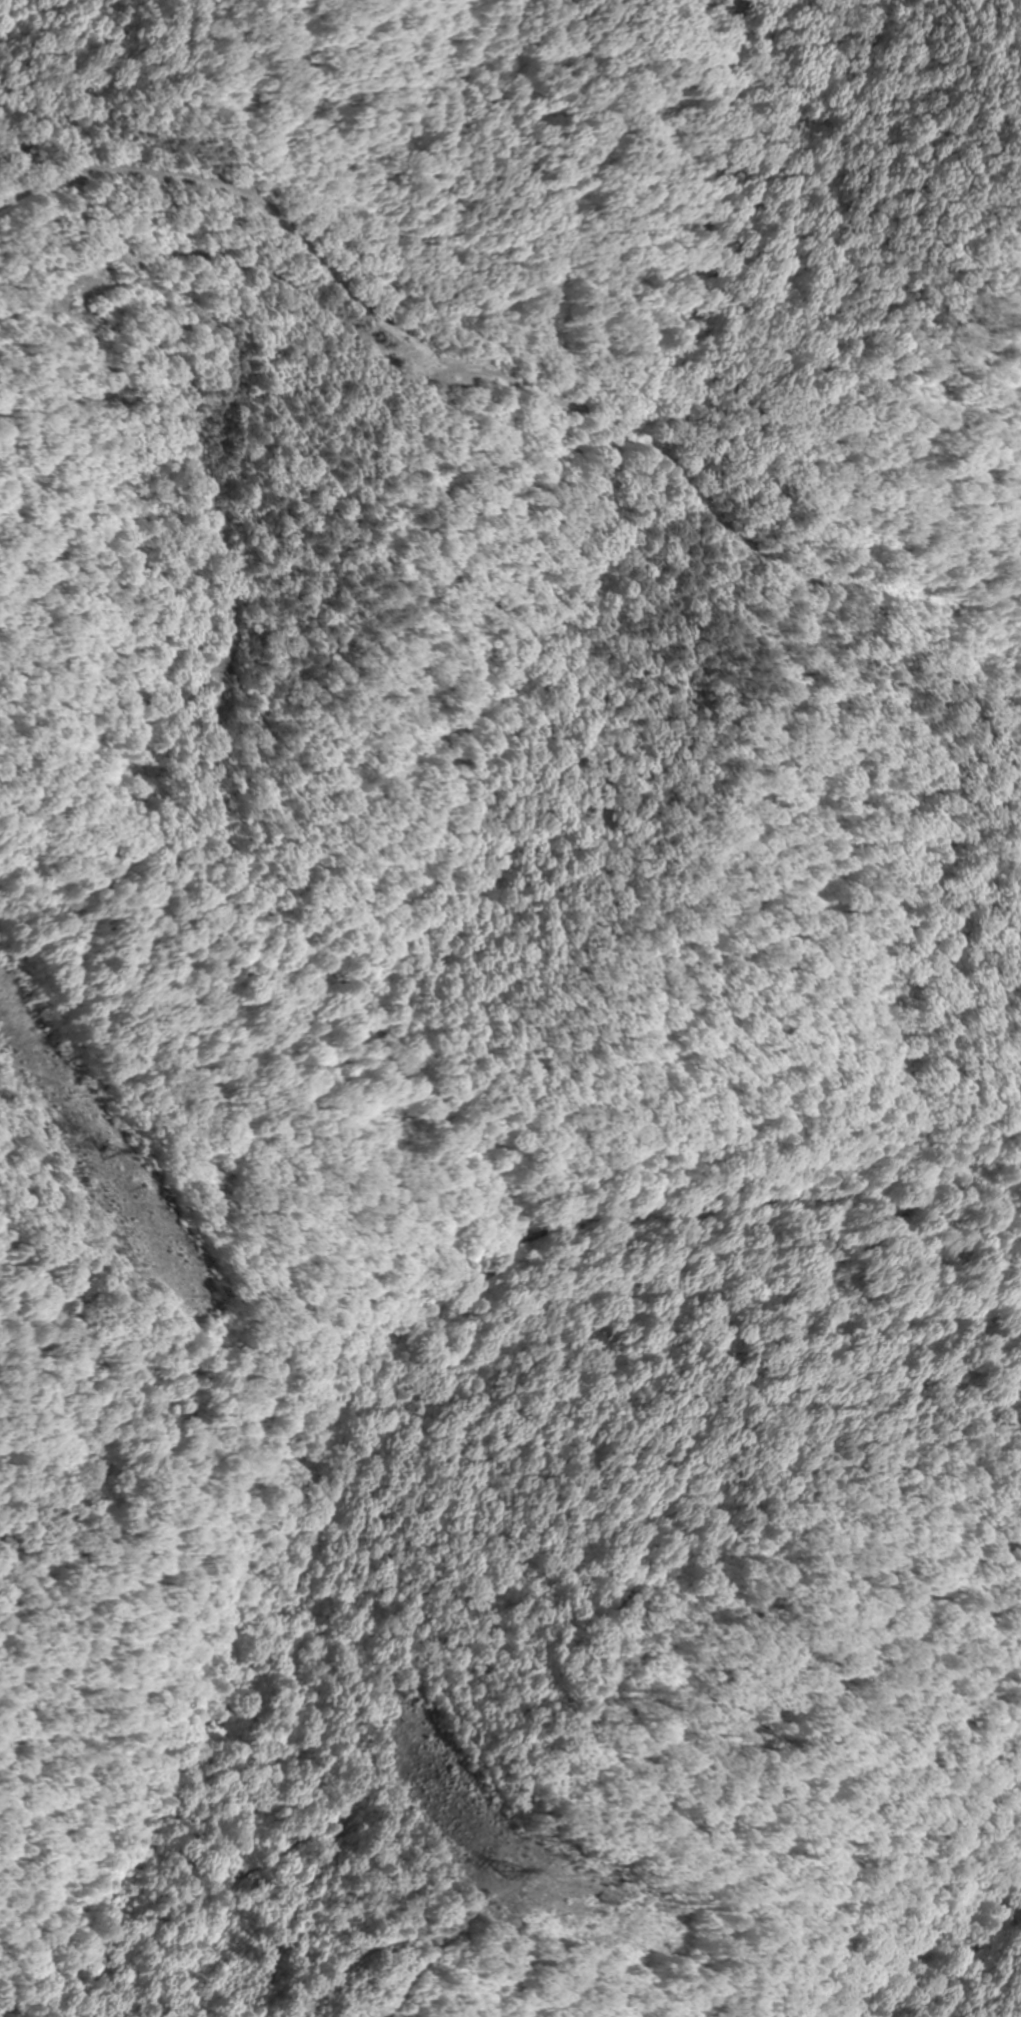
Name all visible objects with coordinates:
power tower: (97, 1153)
power tower: (498, 1876)

